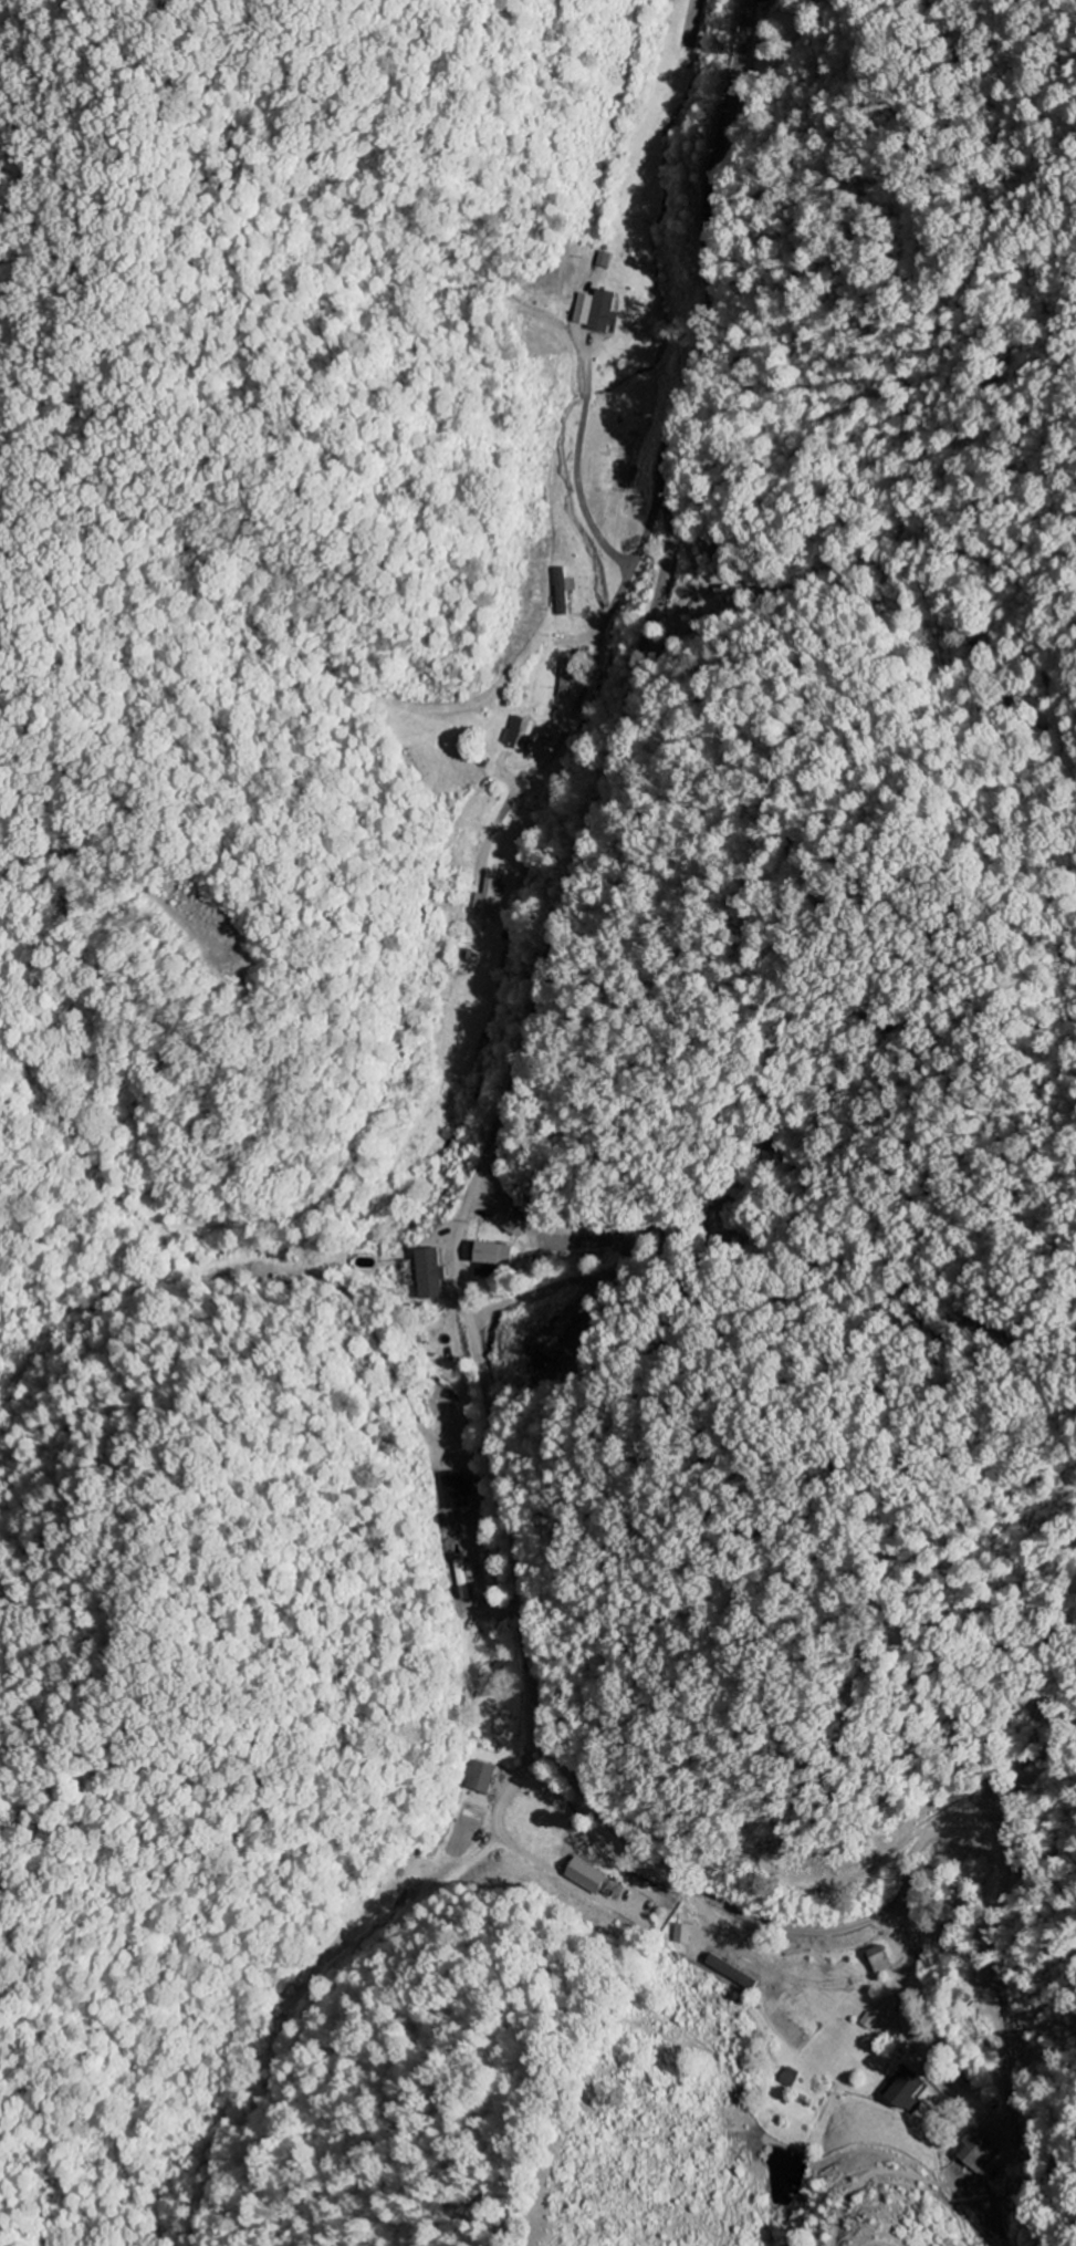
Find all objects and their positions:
building: (607, 261)
building: (598, 311)
building: (563, 592)
road: (594, 652)
road: (650, 659)
building: (523, 734)
building: (485, 898)
road: (514, 1061)
building: (513, 1221)
building: (500, 1256)
building: (435, 1276)
building: (484, 1778)
building: (591, 1875)
building: (698, 1953)
building: (882, 1961)
building: (729, 1968)
building: (874, 2021)
building: (908, 2089)
building: (982, 2152)

